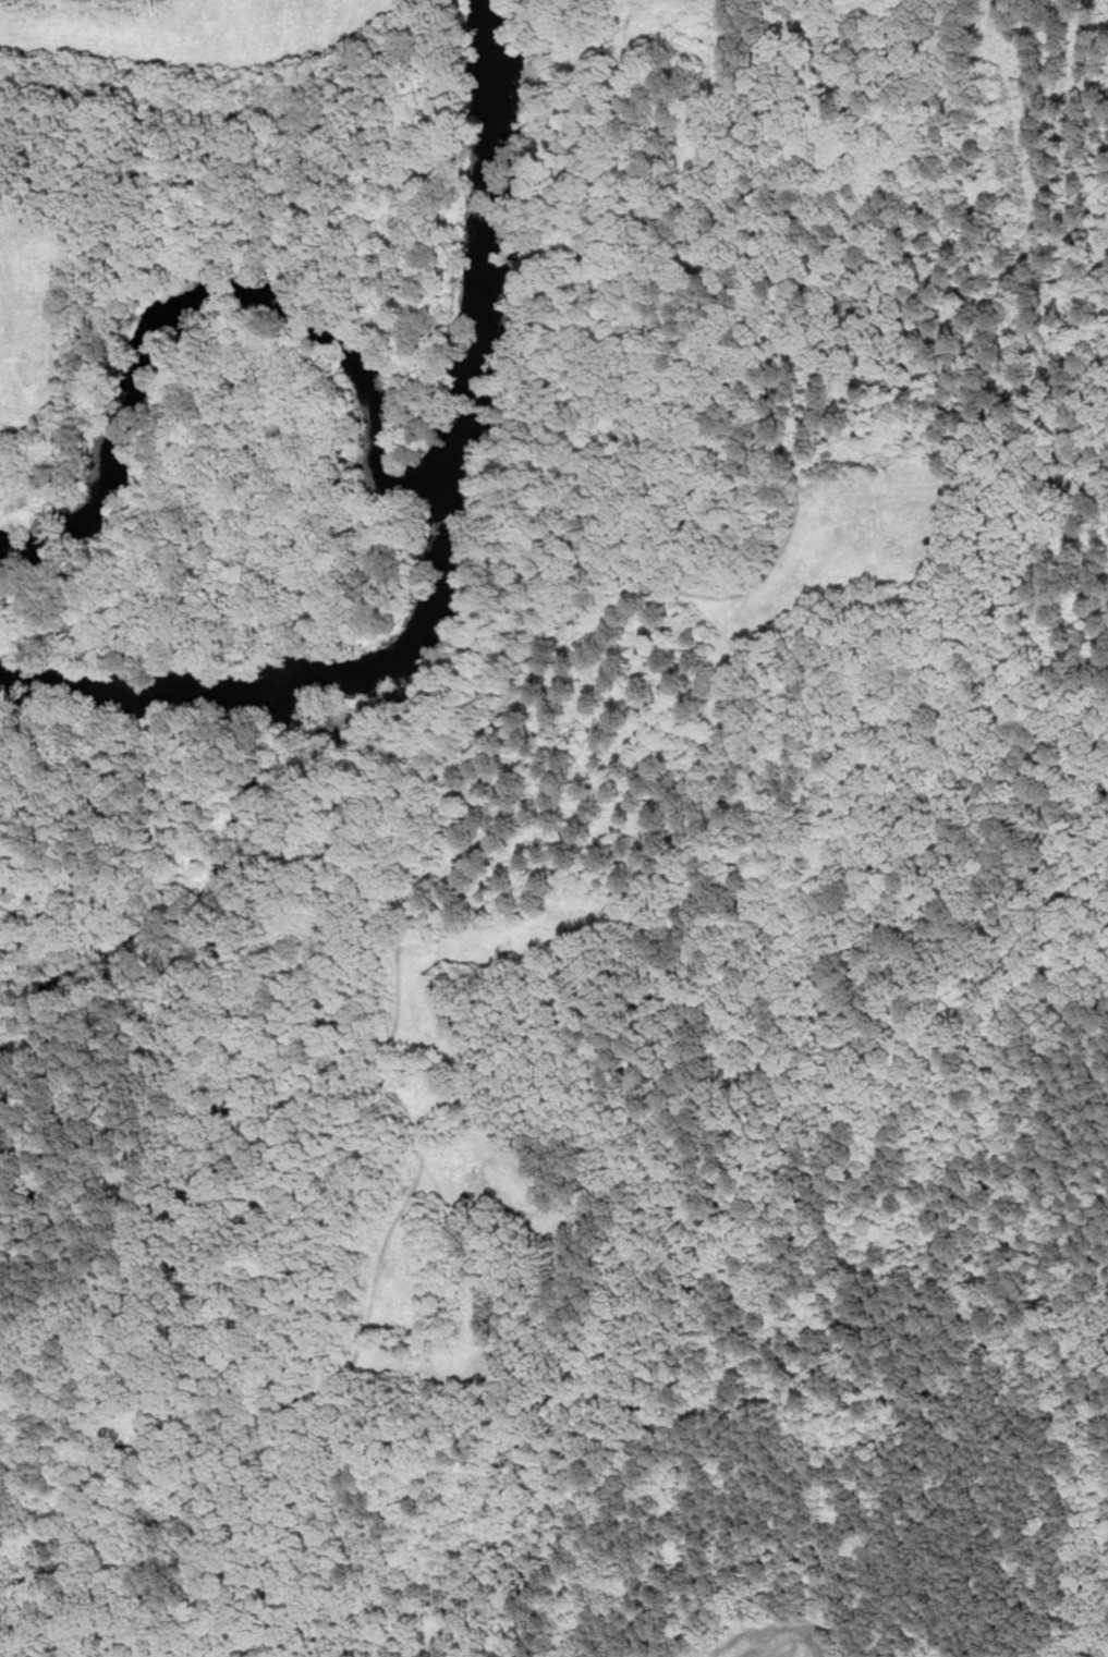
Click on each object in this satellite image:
river: (209, 304)
road: (730, 360)
river: (446, 543)
road: (715, 589)
road: (519, 681)
road: (388, 886)
road: (418, 898)
road: (402, 1099)
road: (388, 1236)
road: (518, 1398)
road: (158, 1447)

